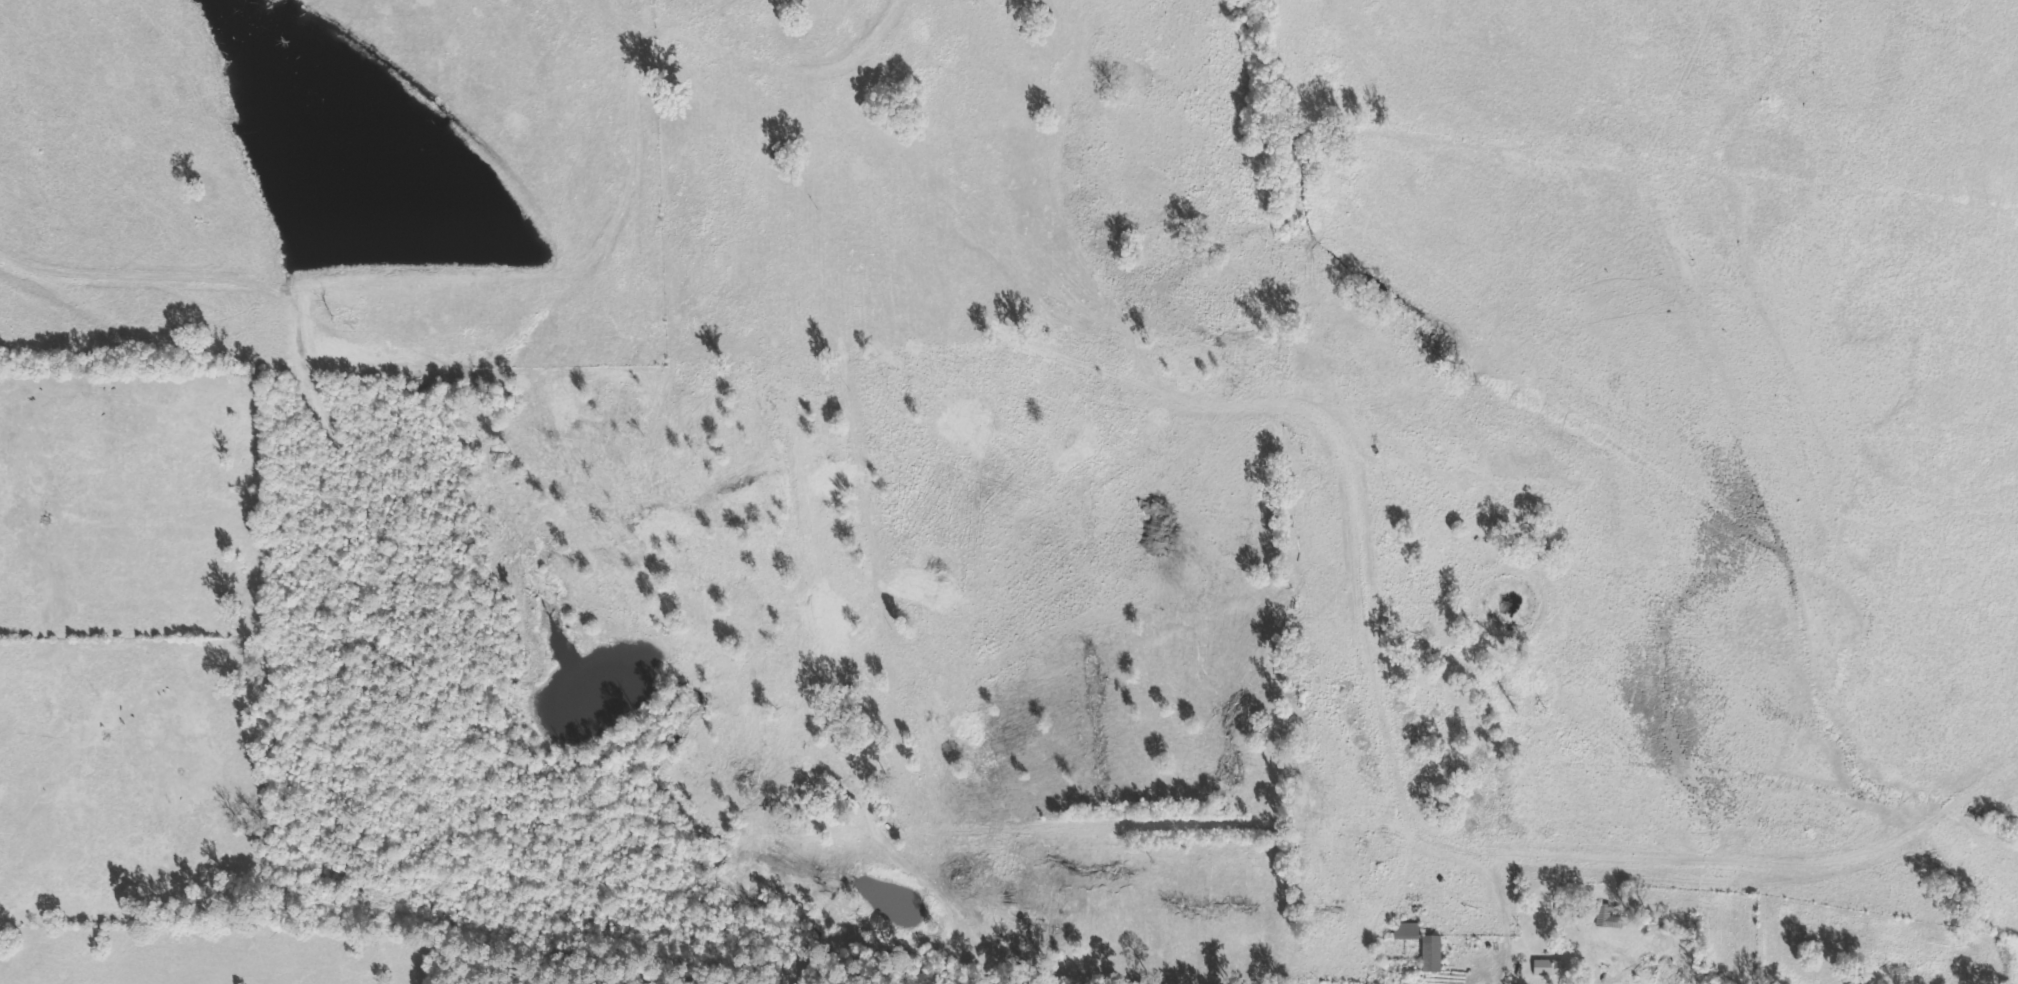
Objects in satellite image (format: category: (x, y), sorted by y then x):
building: (778, 151)
road: (936, 885)
building: (1604, 916)
building: (1403, 929)
building: (1428, 952)
building: (1544, 964)

